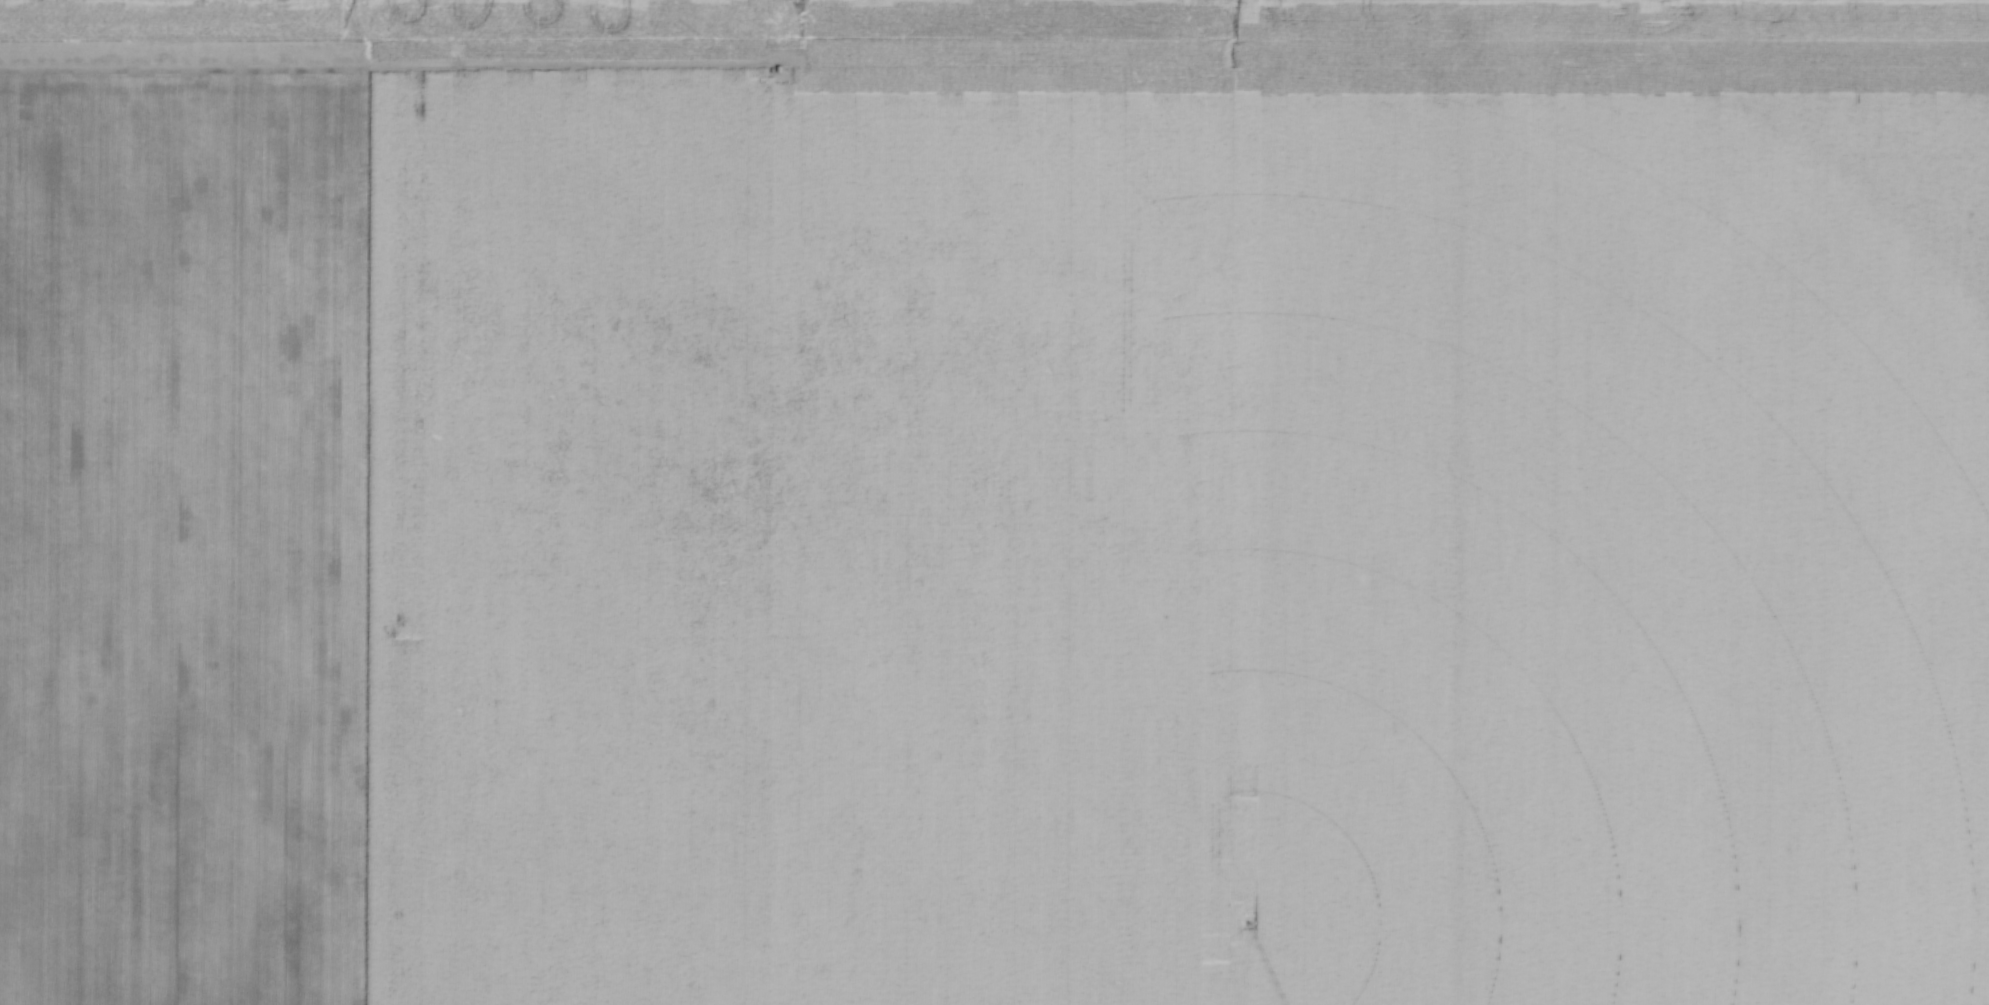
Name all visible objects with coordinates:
power tower: (799, 0)
power tower: (349, 2)

